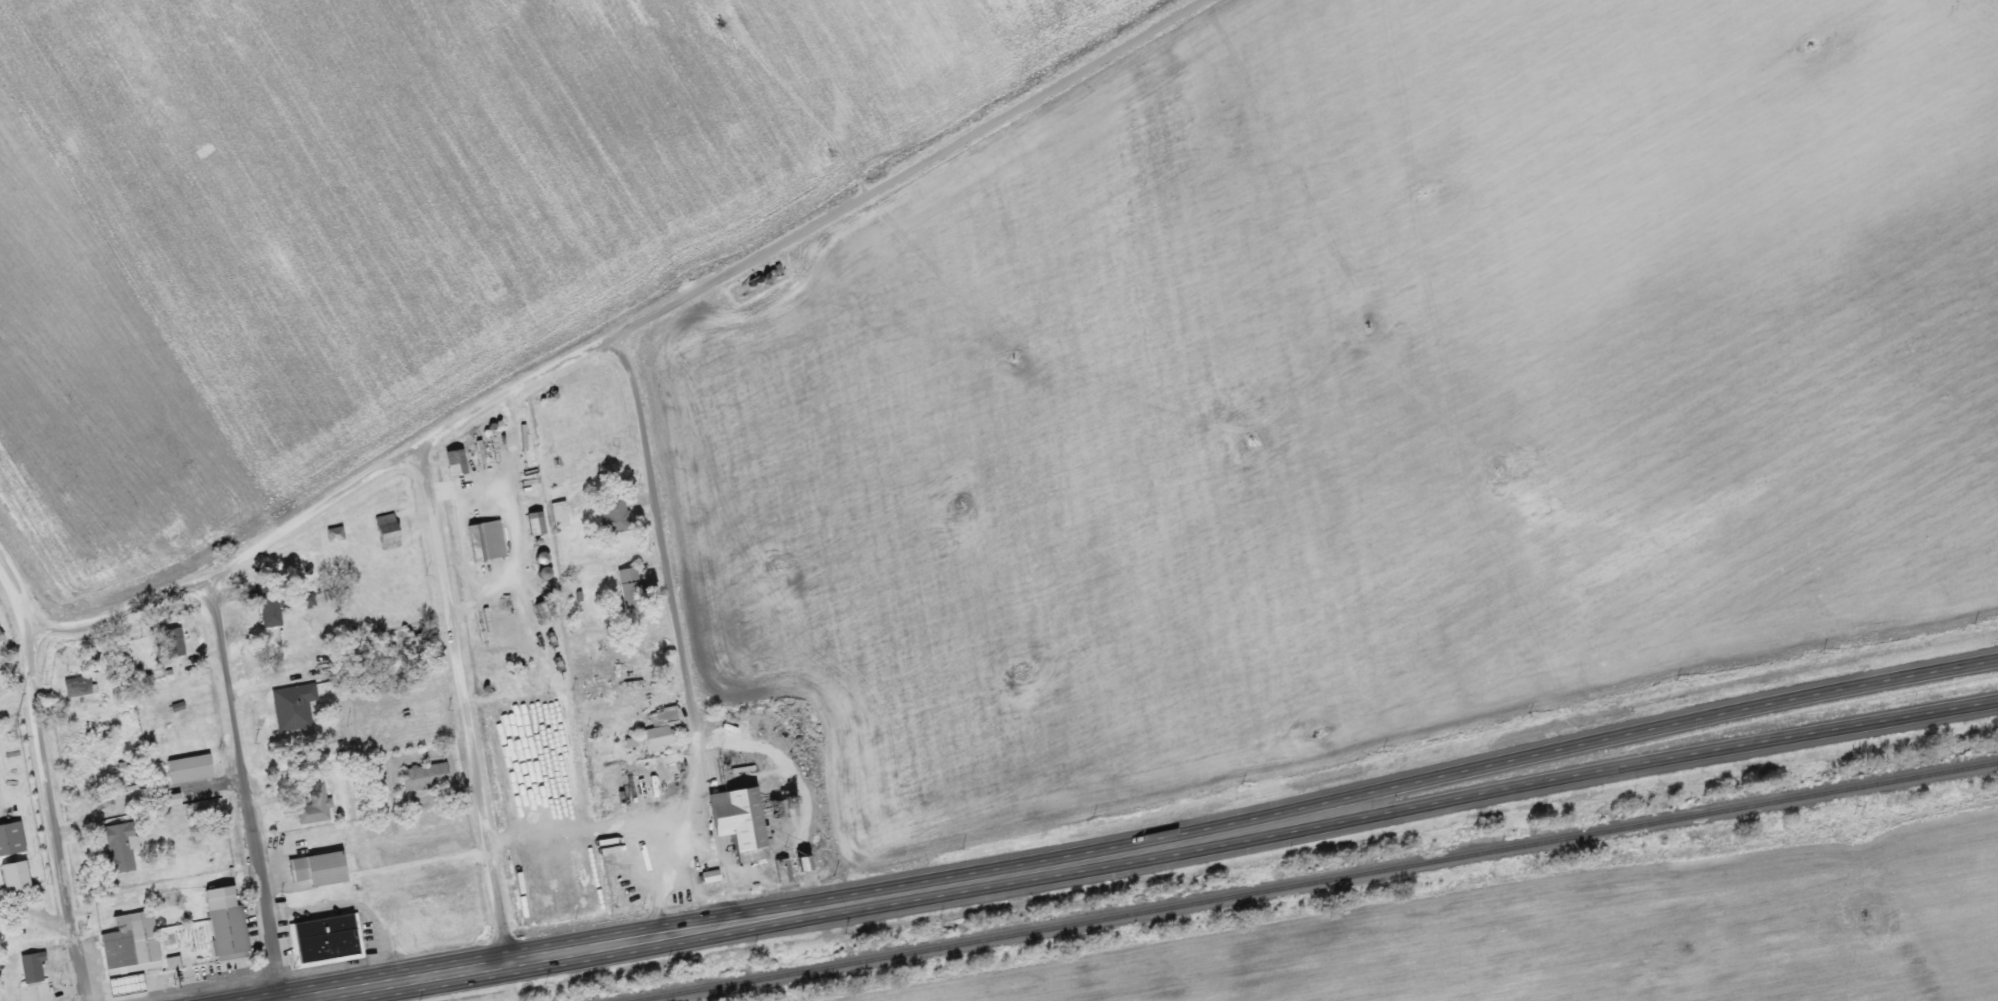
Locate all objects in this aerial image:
road: (617, 335)
building: (523, 434)
building: (457, 462)
building: (560, 514)
building: (615, 515)
building: (537, 523)
building: (388, 531)
building: (334, 534)
building: (486, 541)
building: (631, 588)
road: (16, 591)
building: (270, 604)
building: (2, 635)
road: (677, 638)
building: (172, 643)
building: (79, 686)
road: (463, 704)
building: (294, 706)
road: (1663, 723)
building: (662, 727)
road: (1667, 762)
building: (190, 768)
building: (426, 777)
building: (139, 786)
road: (245, 791)
building: (315, 805)
road: (51, 813)
building: (744, 821)
building: (12, 838)
building: (120, 847)
building: (321, 868)
building: (17, 877)
railway: (1315, 882)
road: (809, 910)
building: (230, 932)
building: (327, 940)
building: (133, 952)
building: (33, 967)

